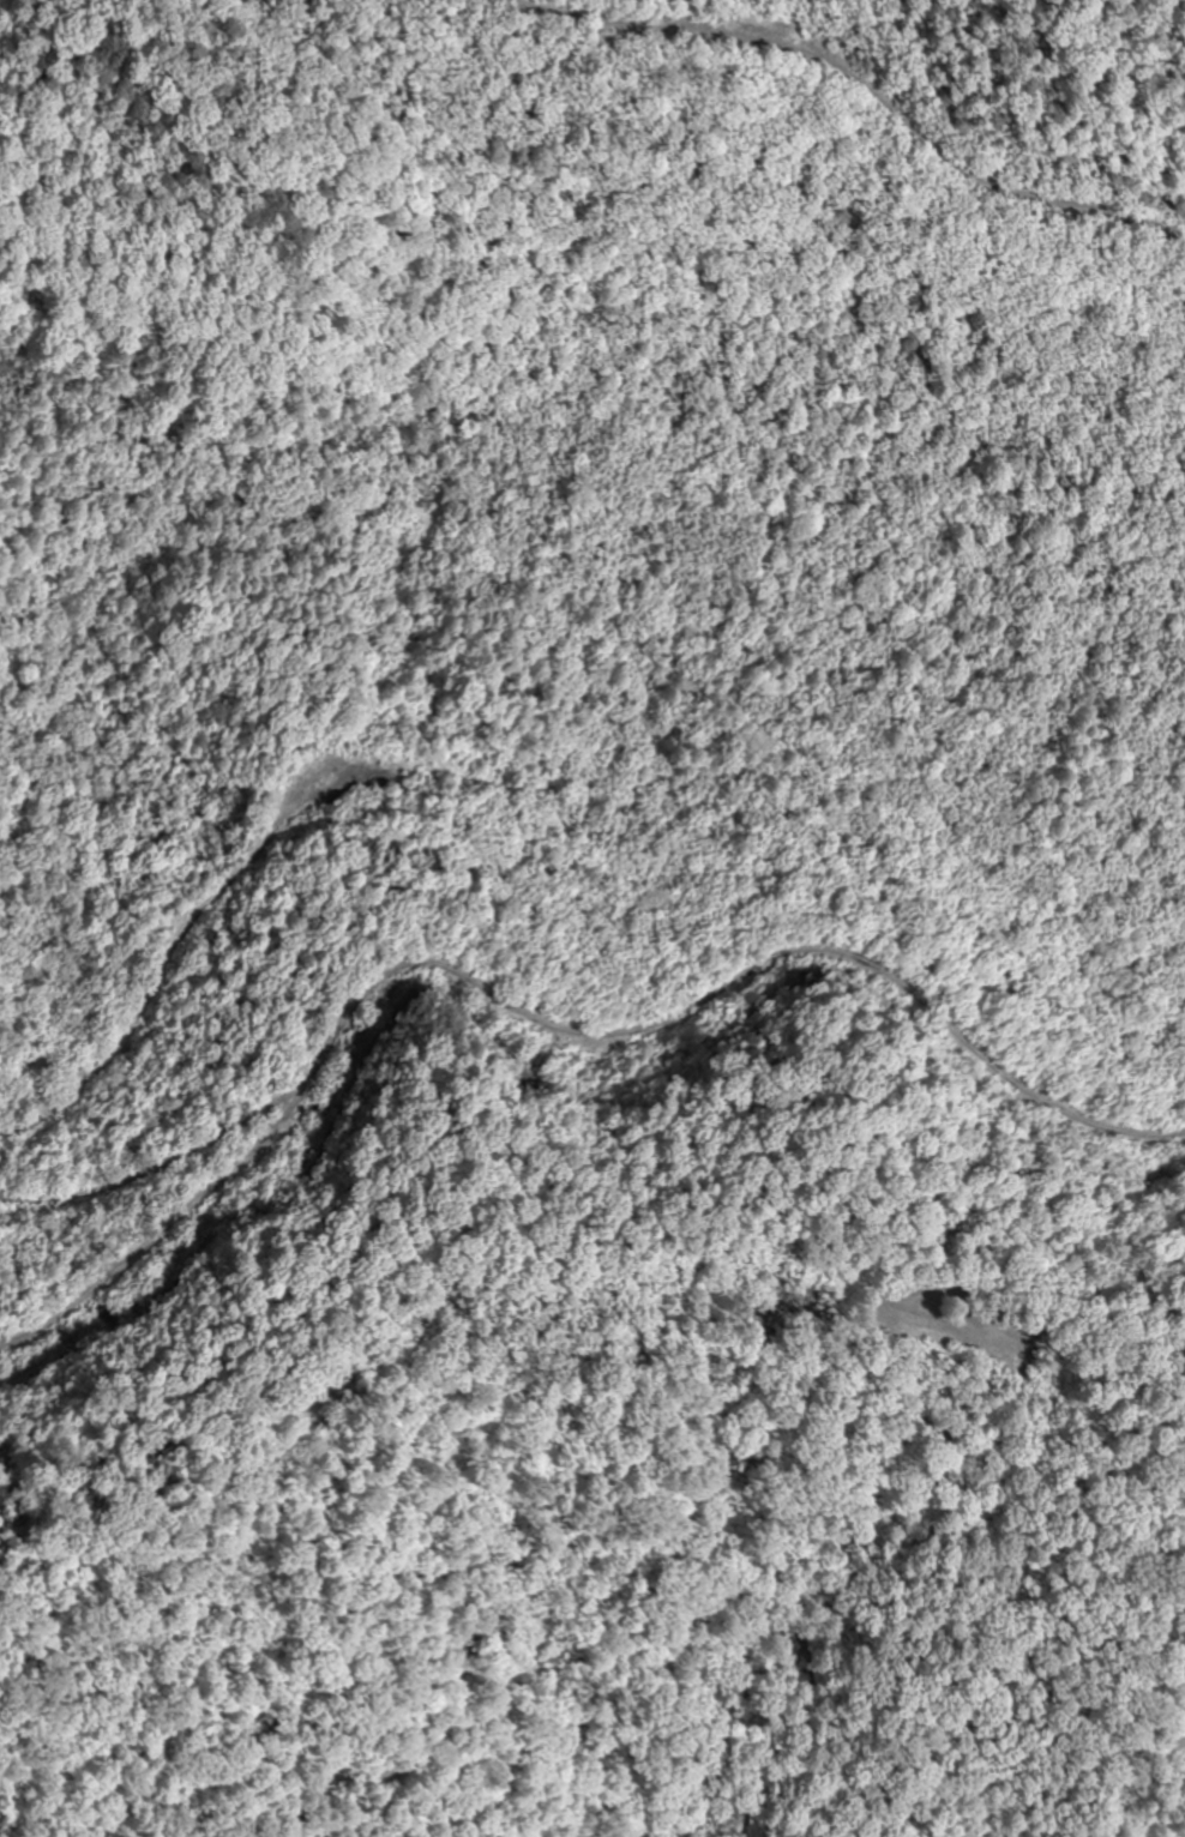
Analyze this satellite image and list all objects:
building: (619, 1832)
road: (275, 1833)

